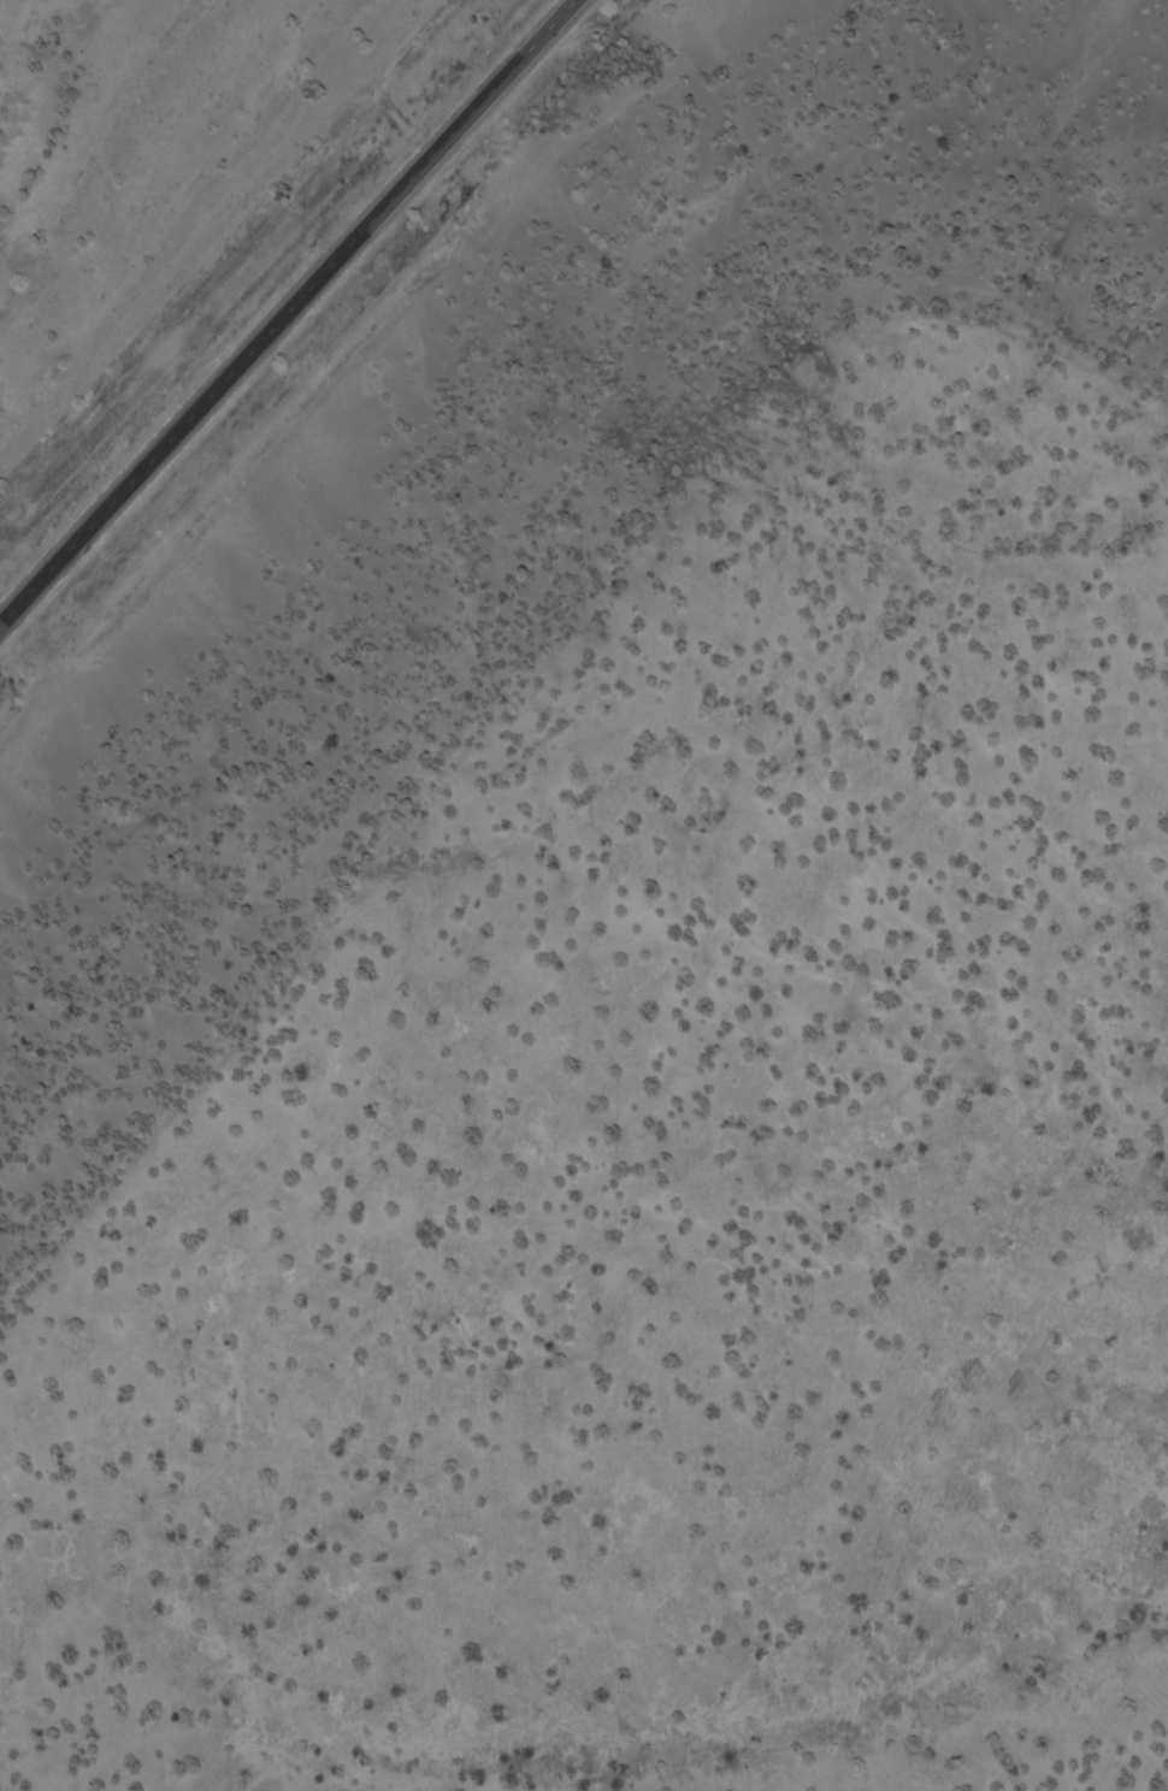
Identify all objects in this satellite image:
road: (287, 312)

